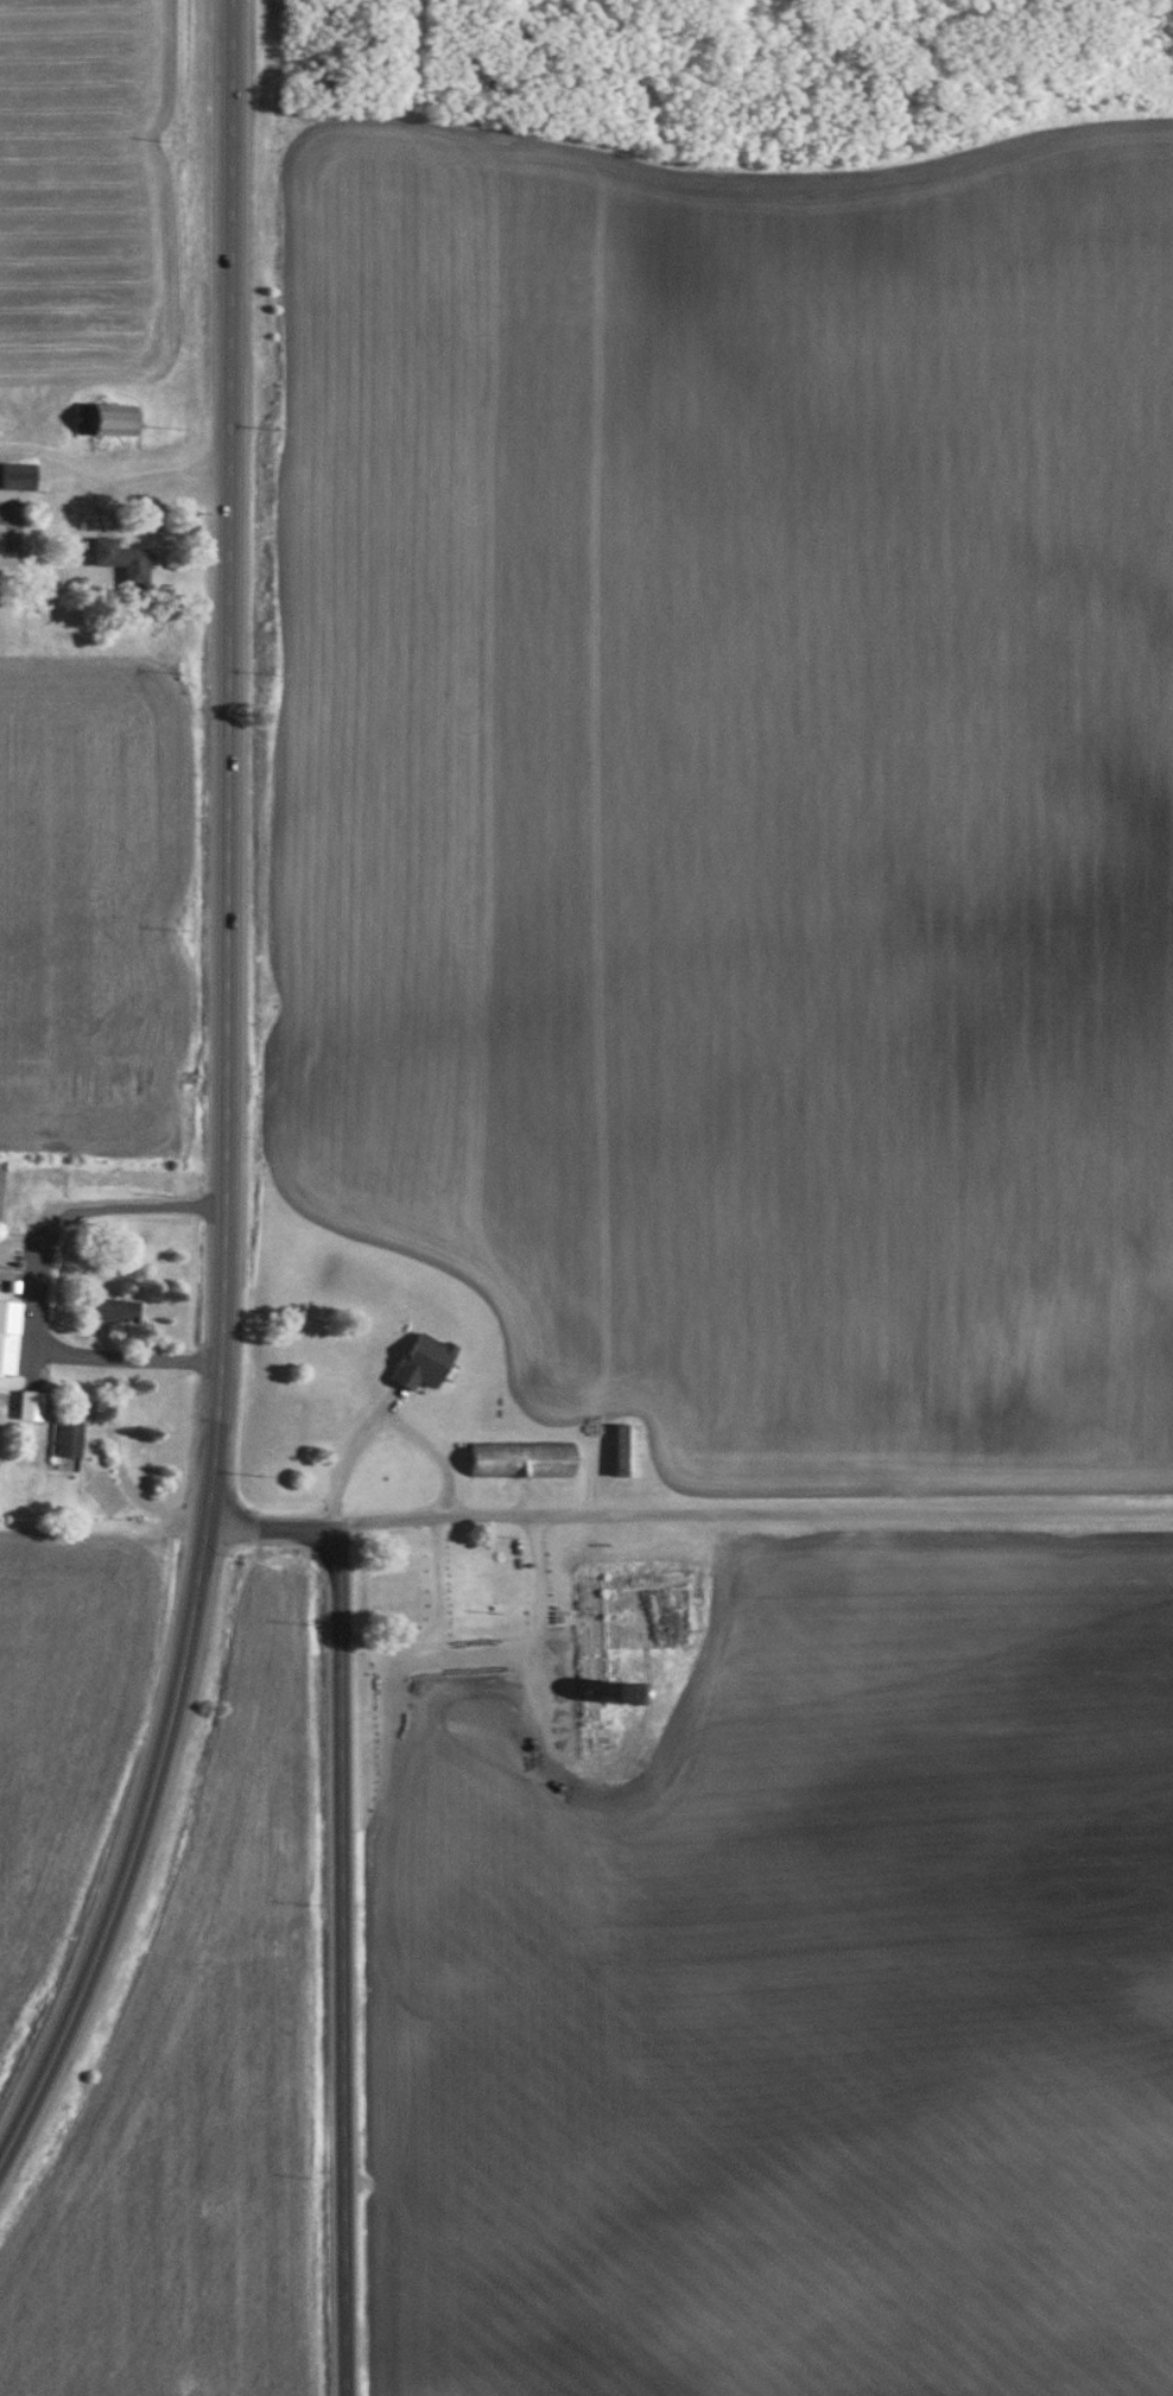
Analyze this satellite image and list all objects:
building: (114, 421)
building: (21, 475)
building: (125, 560)
road: (233, 760)
building: (118, 1308)
building: (9, 1336)
building: (423, 1361)
building: (33, 1406)
building: (69, 1439)
building: (626, 1450)
building: (522, 1459)
road: (691, 1514)
road: (137, 1852)
road: (347, 1957)

